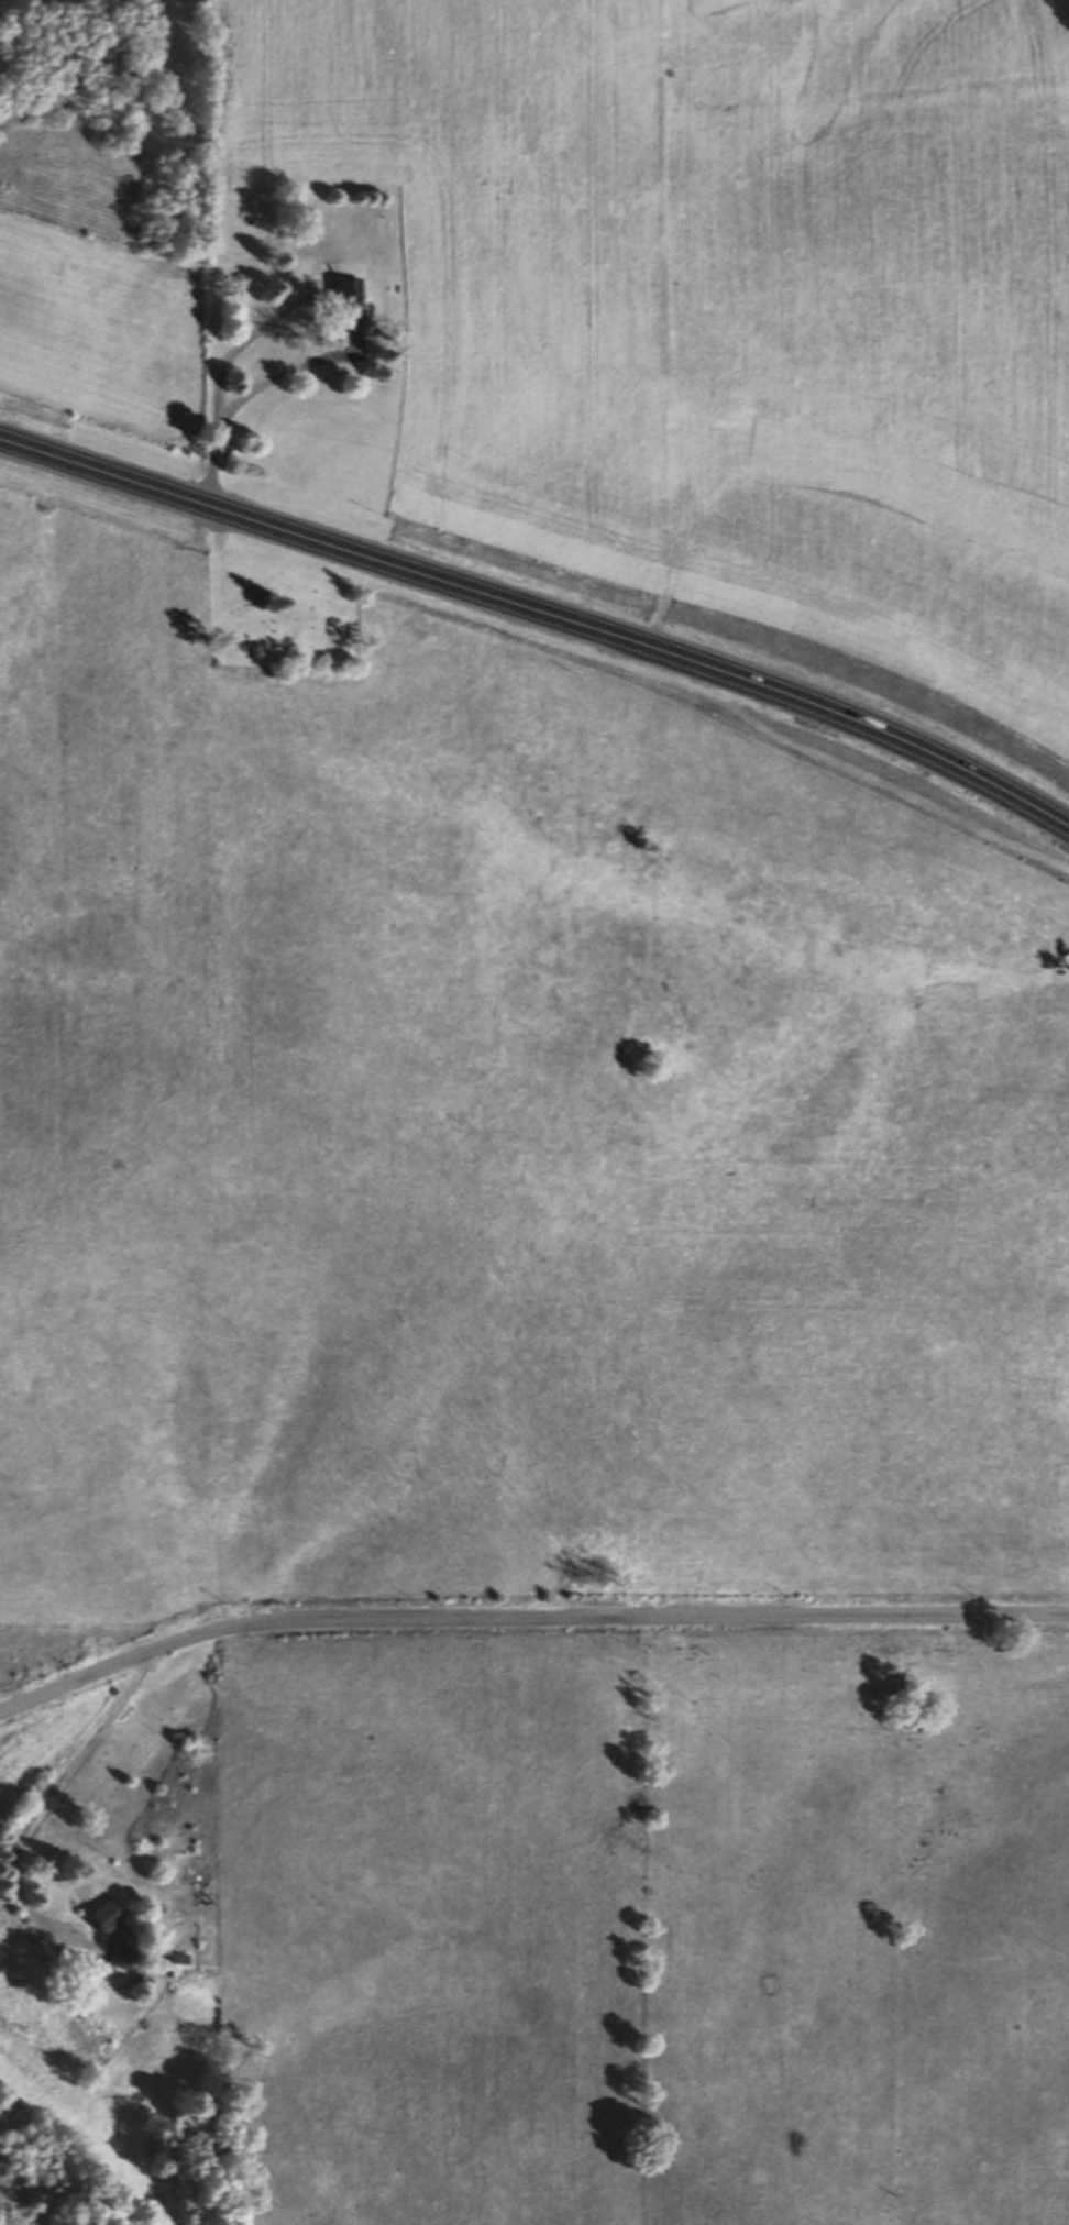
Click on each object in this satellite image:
building: (352, 304)
road: (243, 343)
road: (245, 394)
park: (271, 610)
road: (541, 613)
road: (526, 1613)
road: (42, 1800)
building: (117, 1930)

